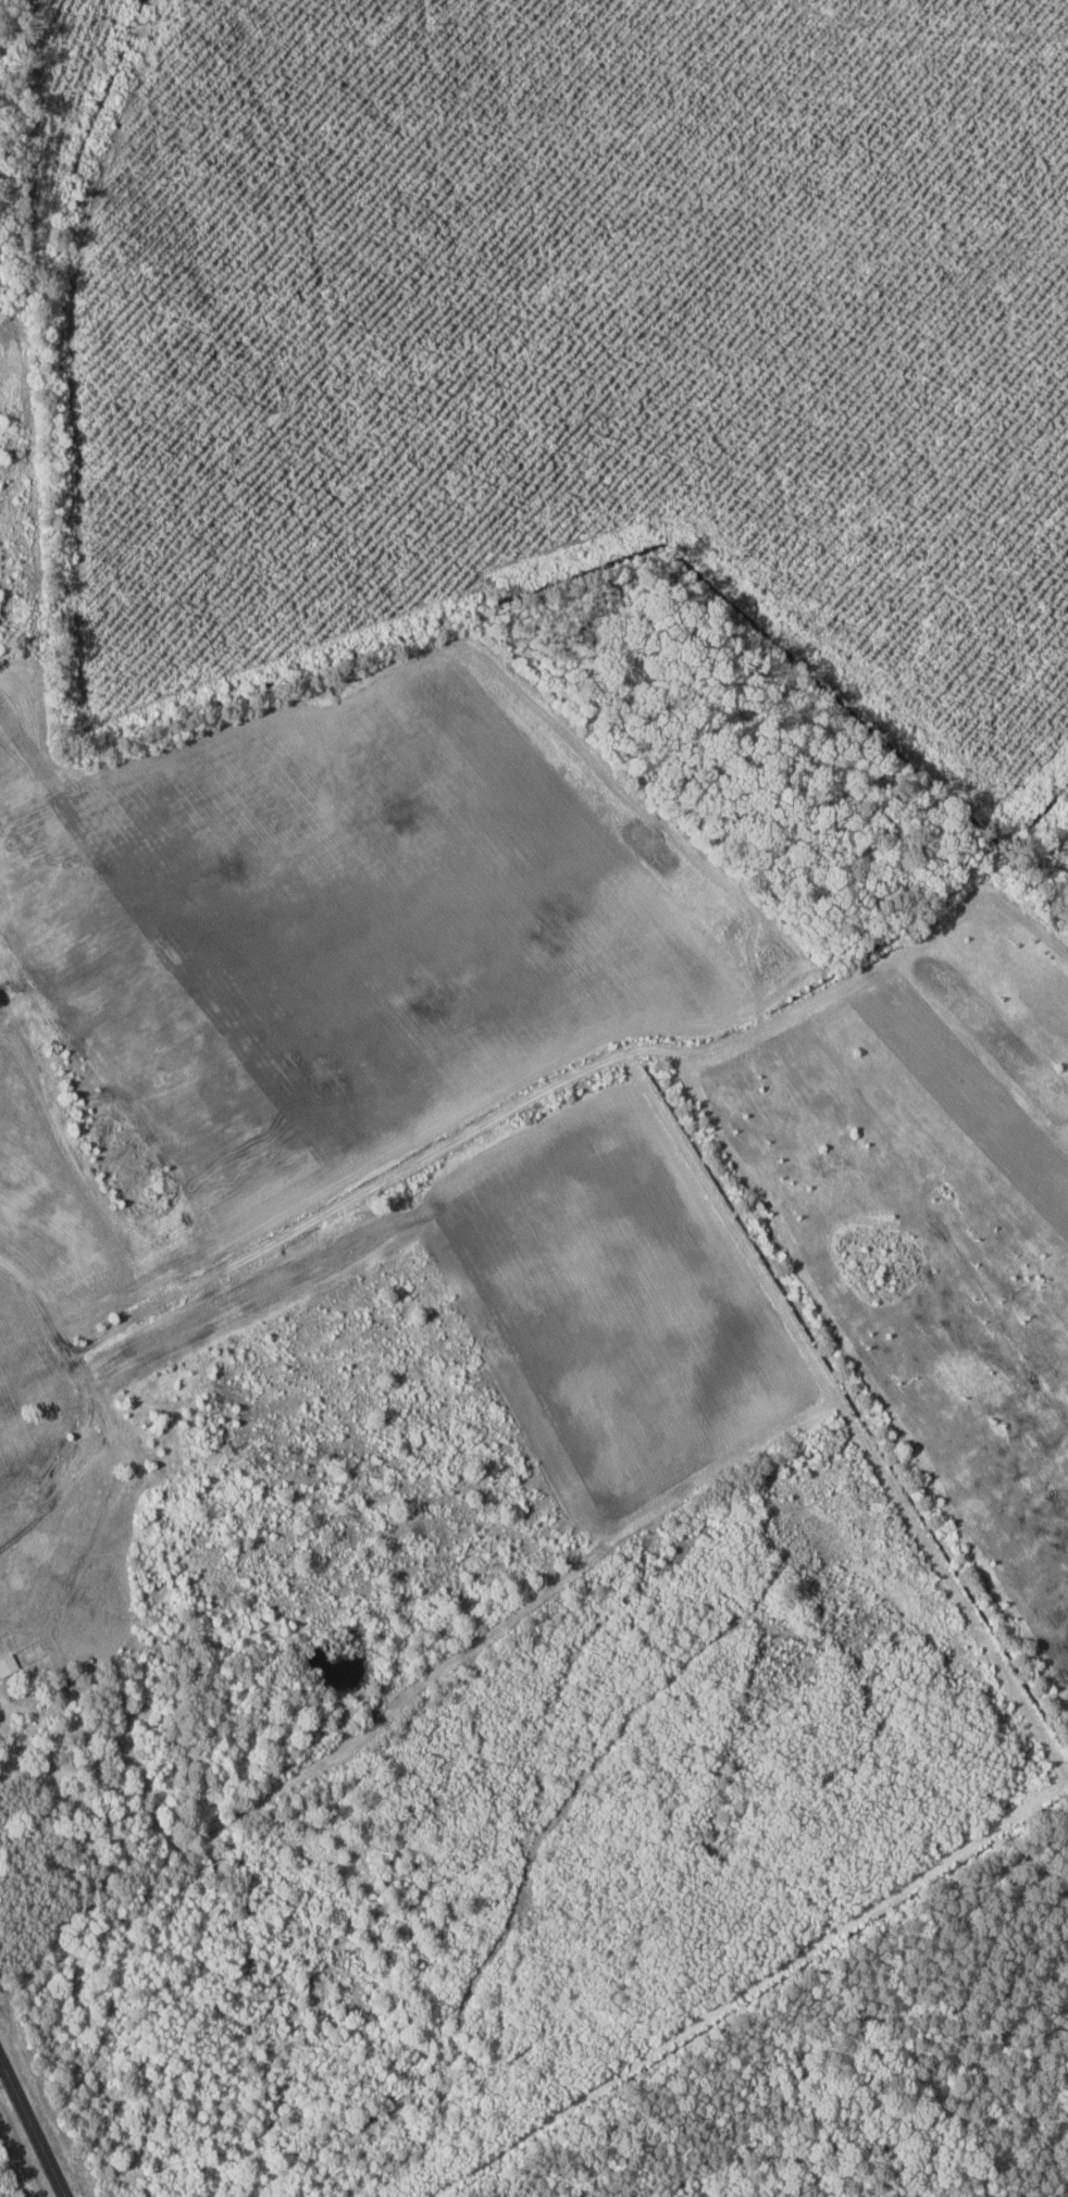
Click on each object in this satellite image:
building: (9, 1664)
road: (33, 2125)

